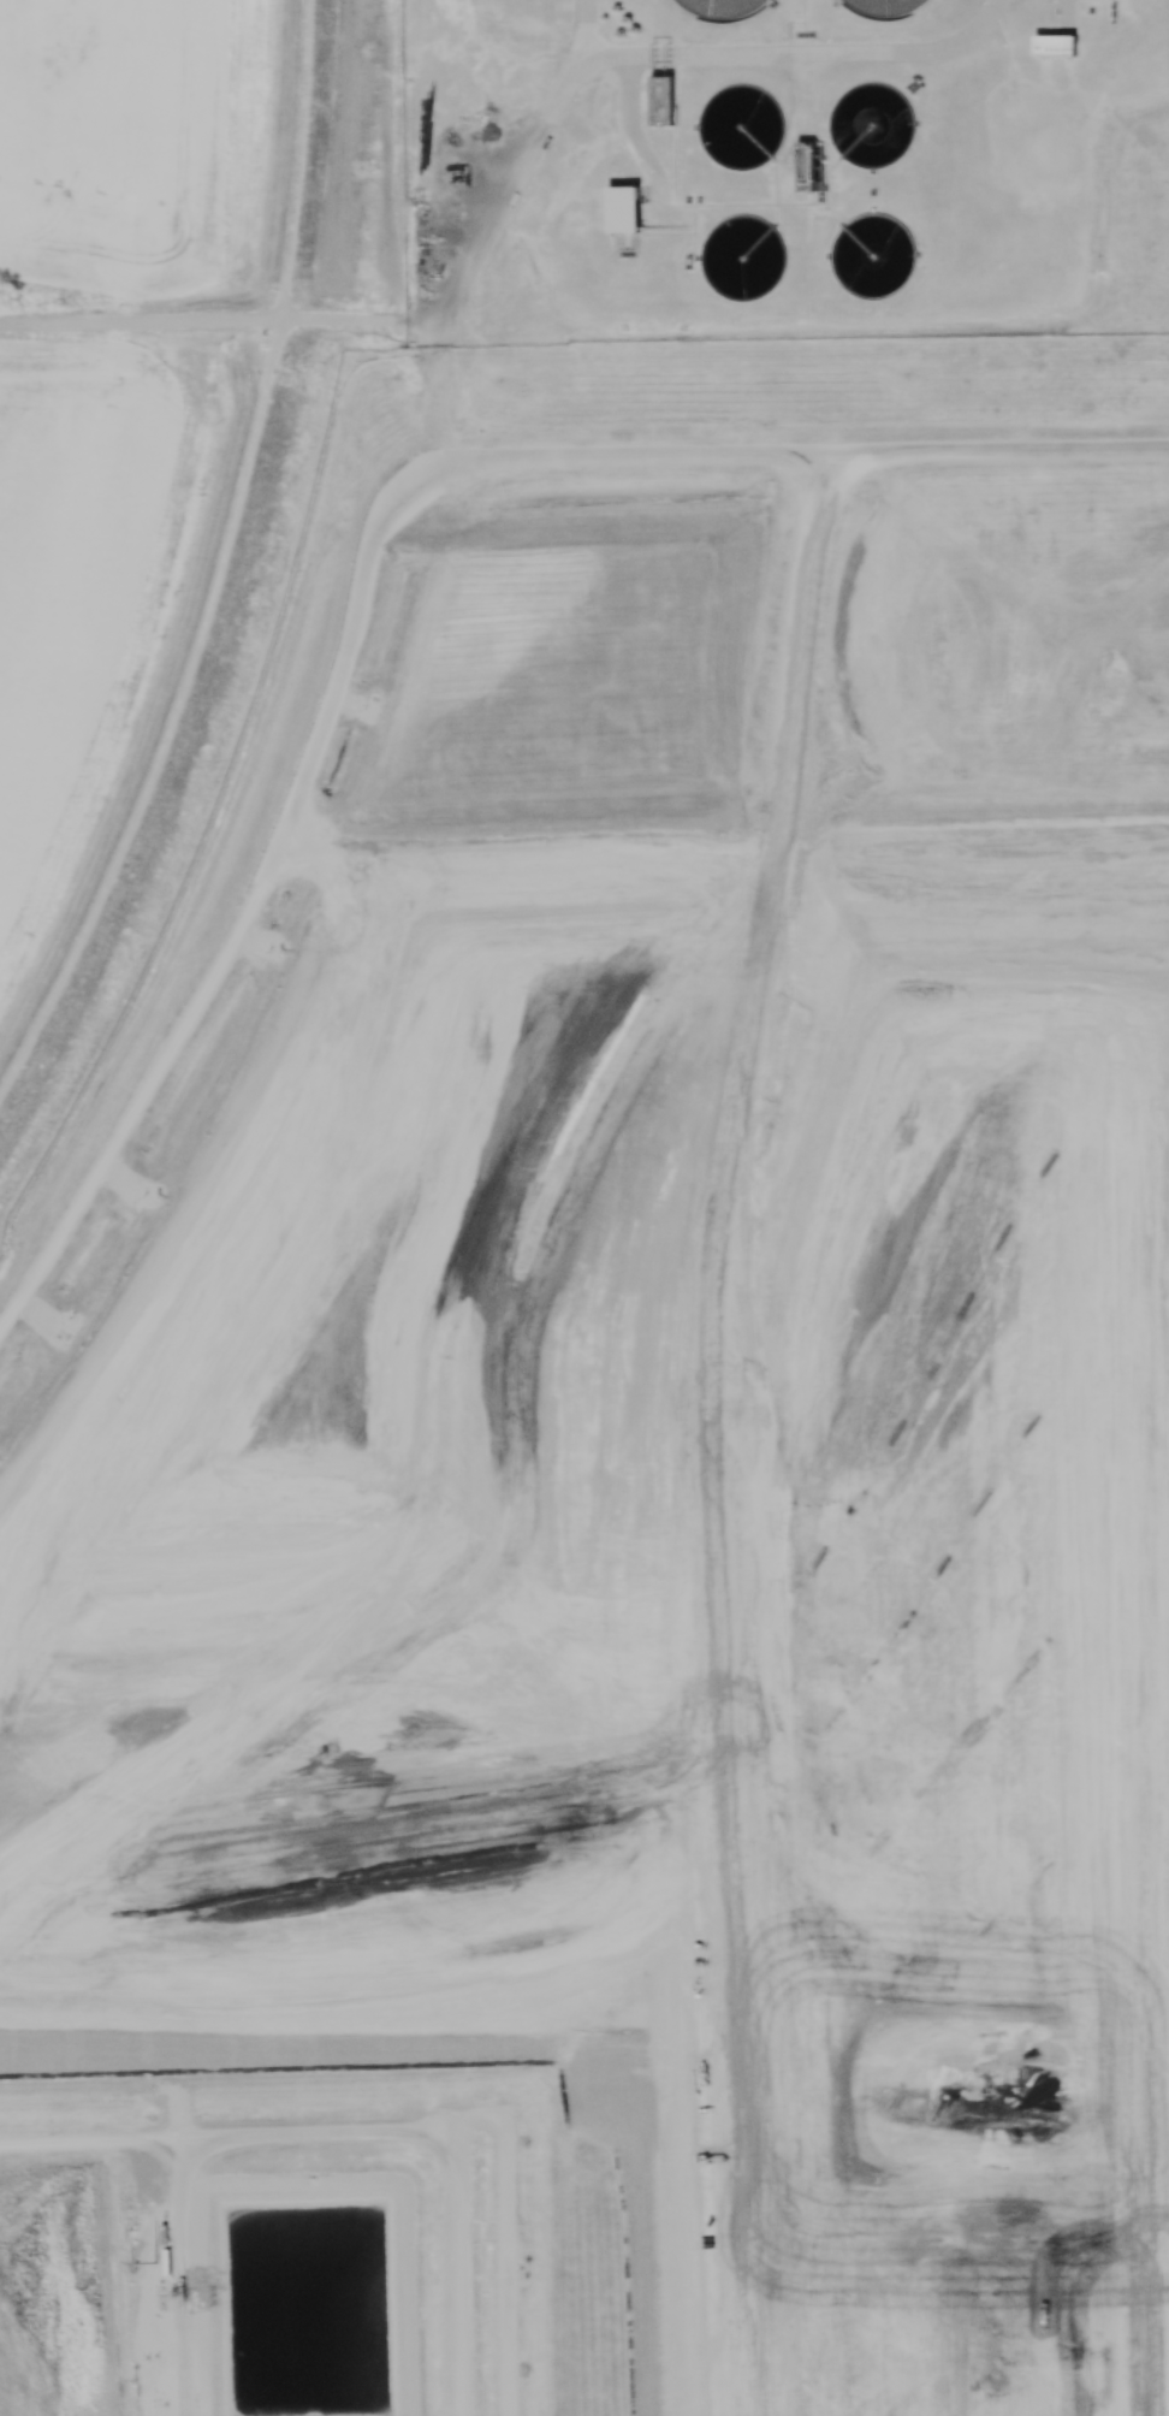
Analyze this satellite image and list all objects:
wastewater plant: (783, 170)
road: (803, 454)
road: (203, 547)
road: (445, 1255)
road: (191, 2150)

